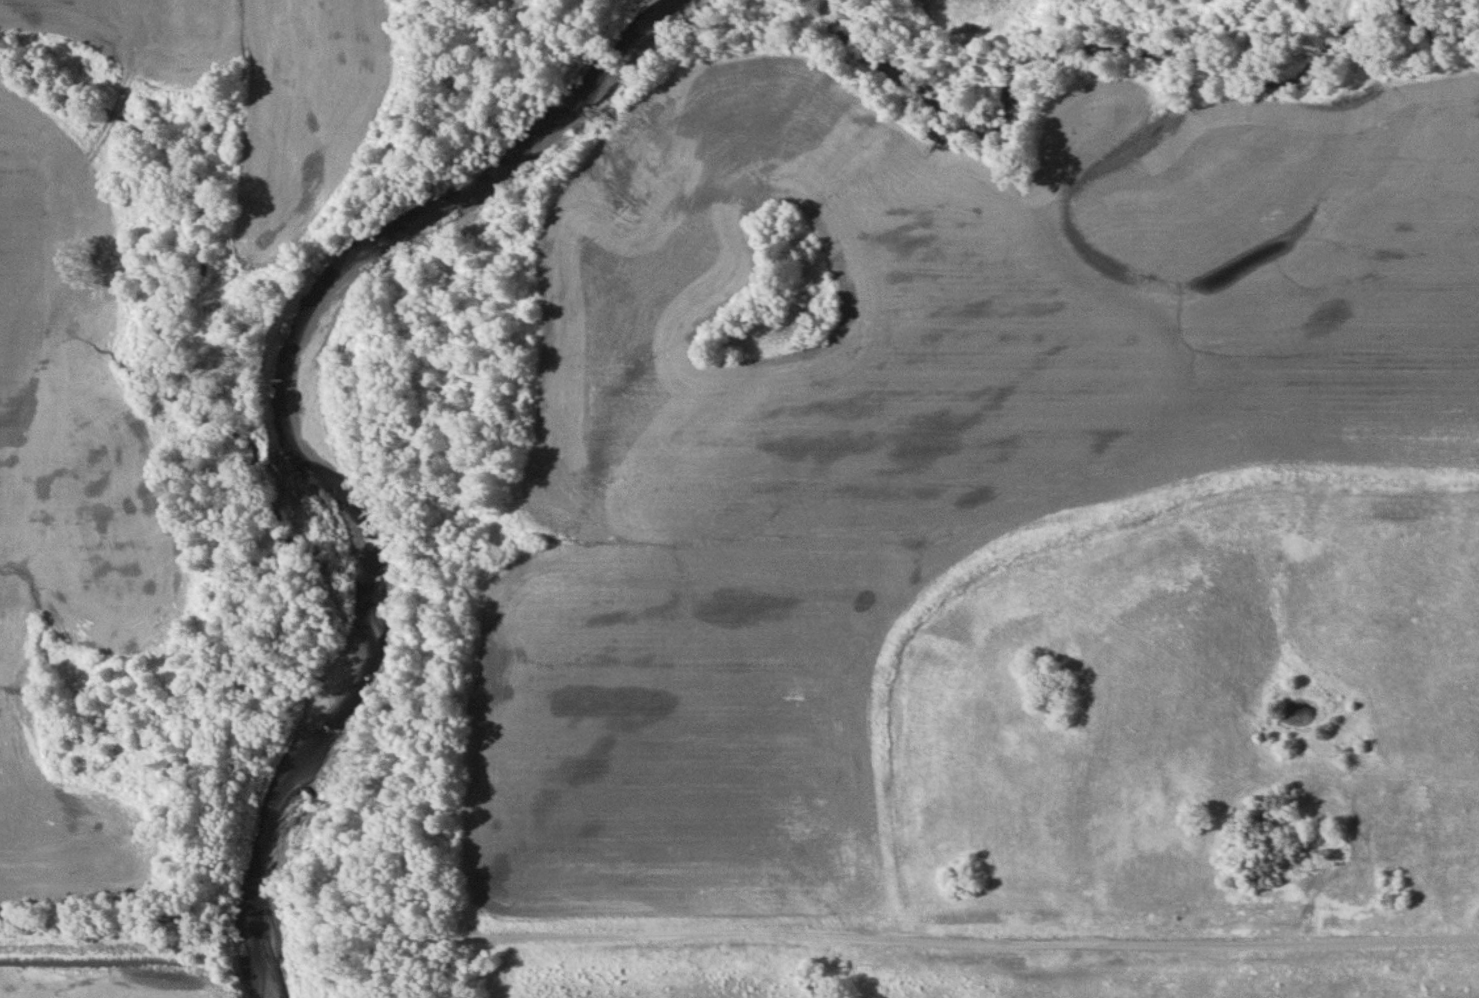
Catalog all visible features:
road: (923, 938)

